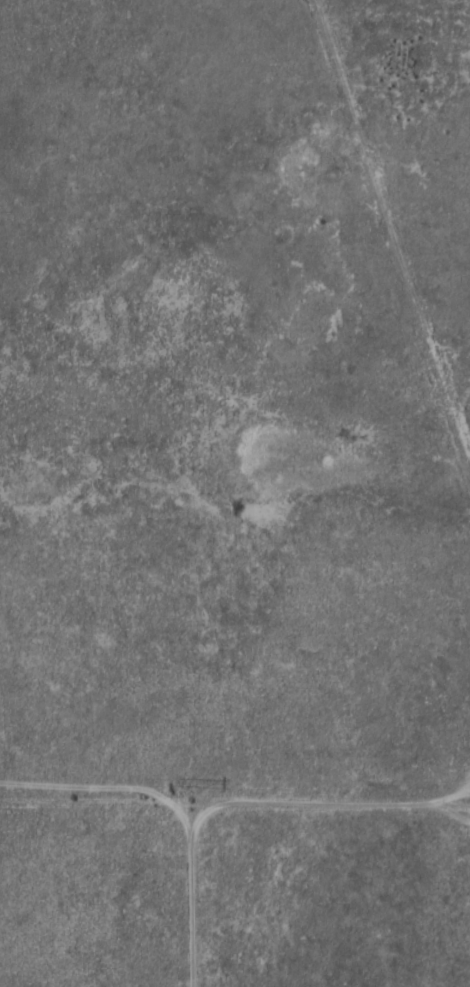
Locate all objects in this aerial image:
power tower: (186, 780)

